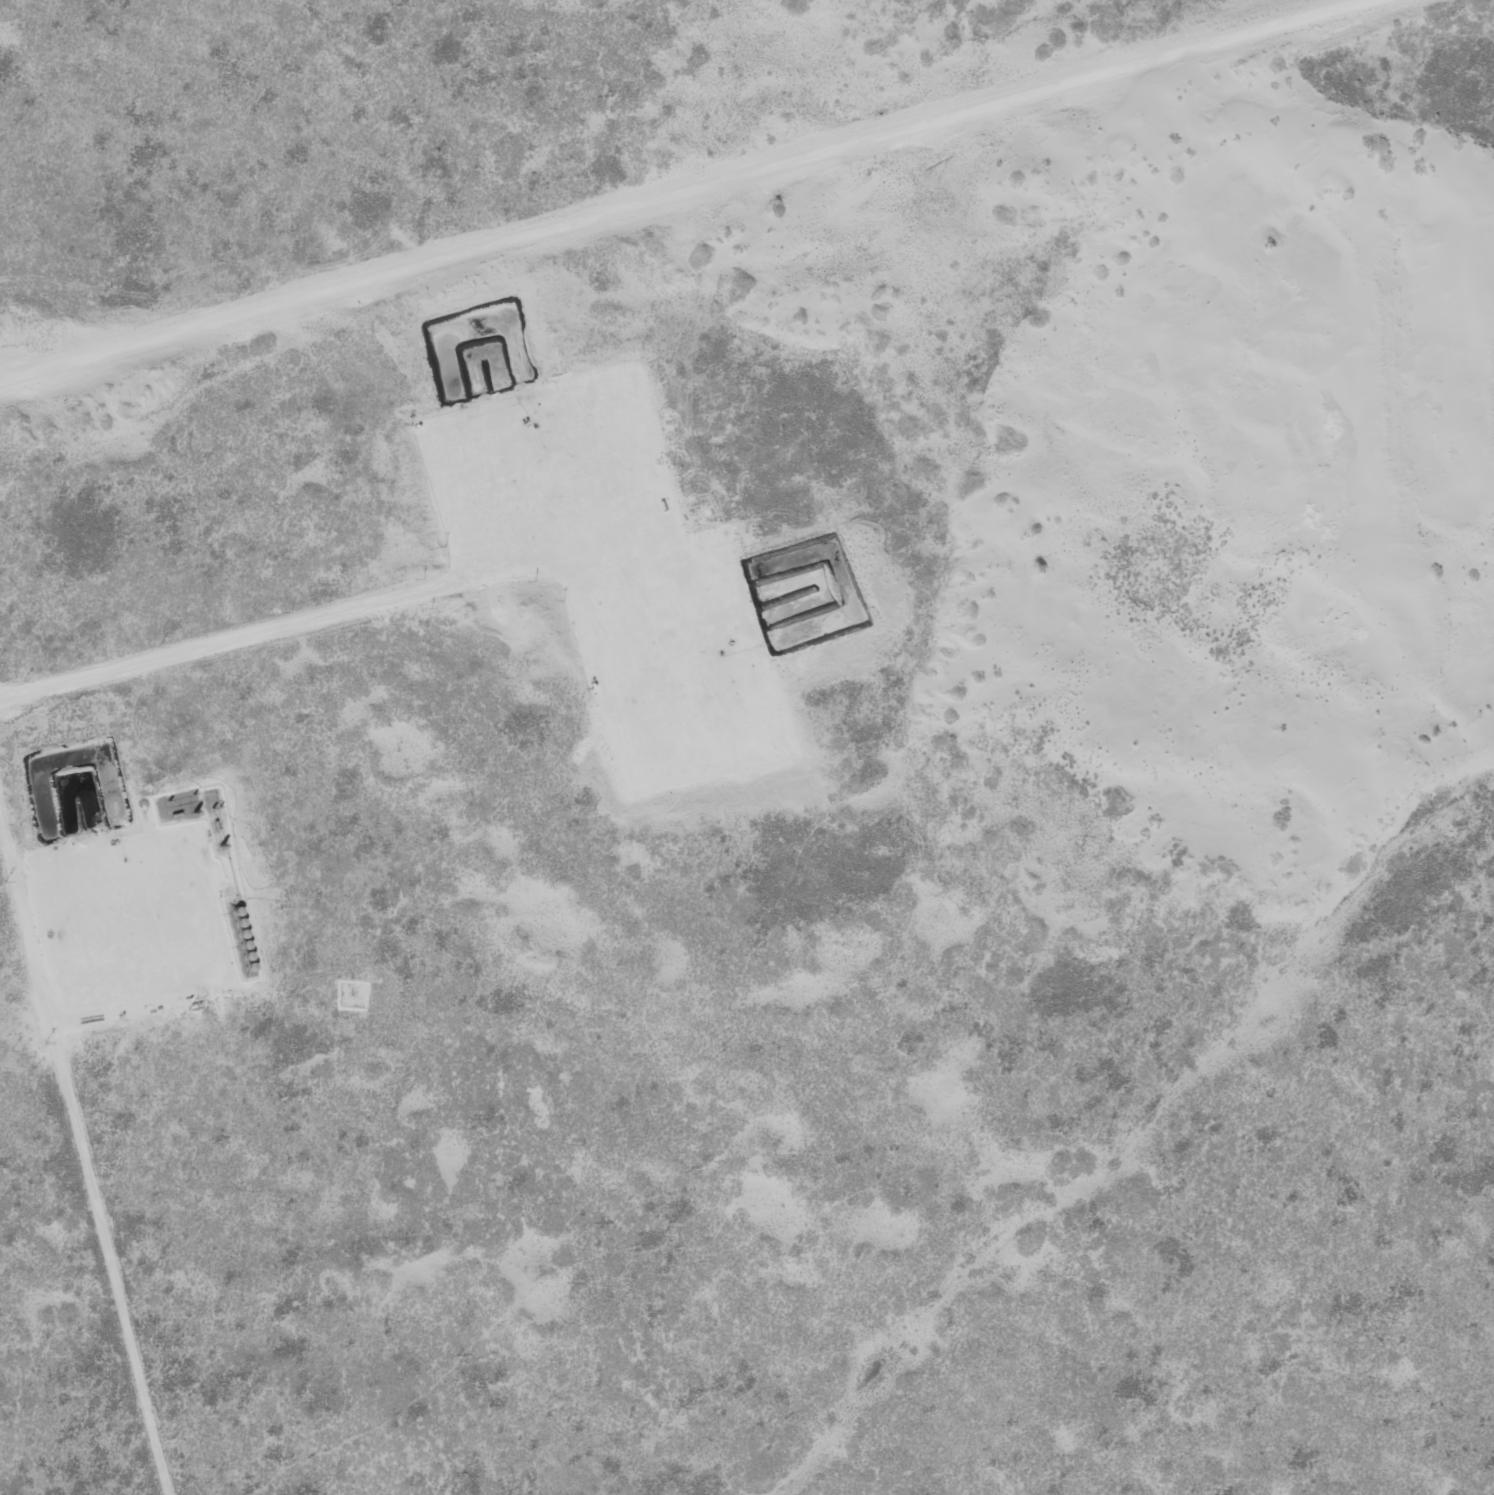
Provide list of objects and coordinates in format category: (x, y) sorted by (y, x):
road: (91, 1120)

